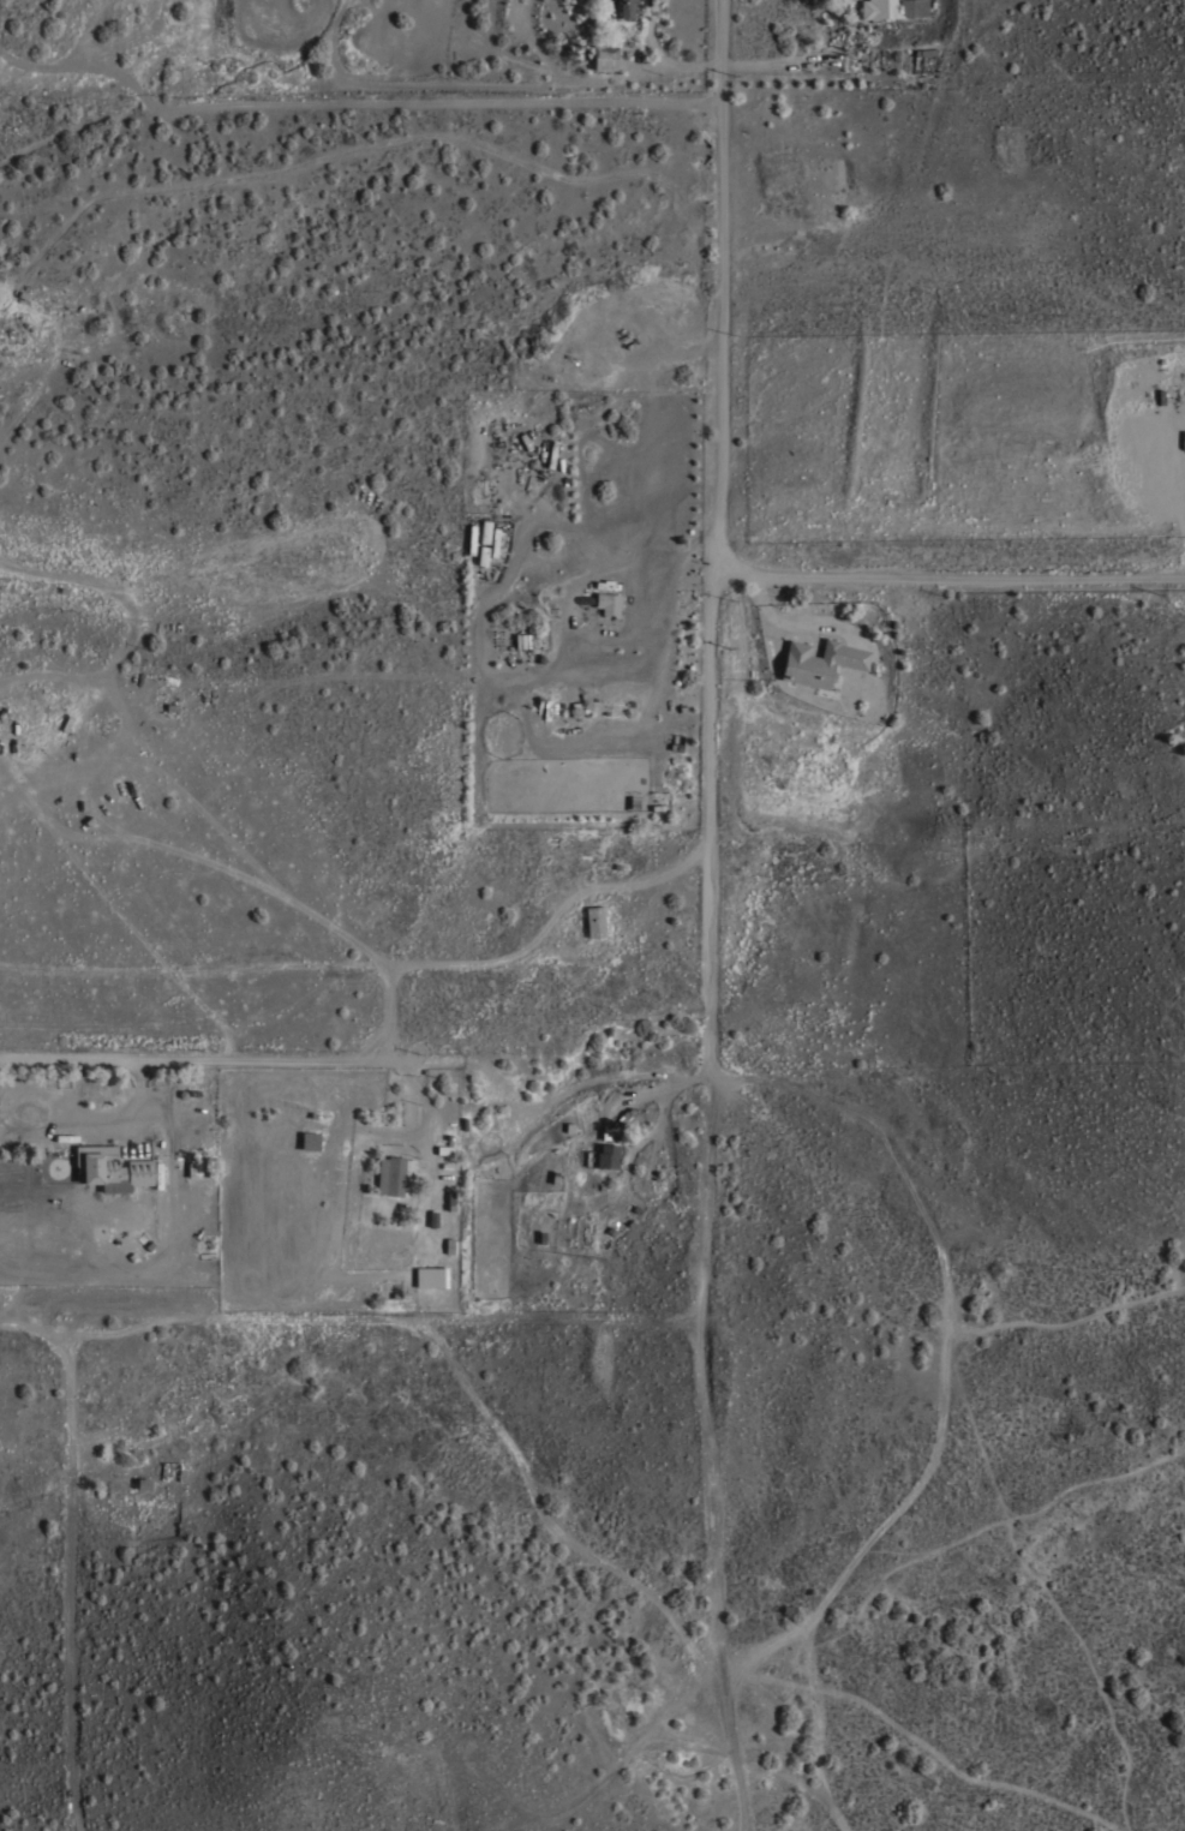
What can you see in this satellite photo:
building: (621, 8)
building: (892, 8)
building: (604, 58)
road: (777, 62)
building: (490, 543)
road: (948, 576)
building: (605, 603)
building: (820, 662)
building: (635, 802)
building: (594, 921)
road: (711, 1009)
road: (203, 1058)
building: (611, 1133)
building: (310, 1141)
building: (608, 1156)
building: (110, 1168)
building: (399, 1174)
building: (439, 1276)
road: (698, 1306)
road: (35, 1317)
road: (456, 1353)
building: (143, 1483)
road: (74, 1580)
building: (622, 1711)
road: (670, 1718)
road: (695, 1745)
road: (938, 1748)
road: (743, 1813)

